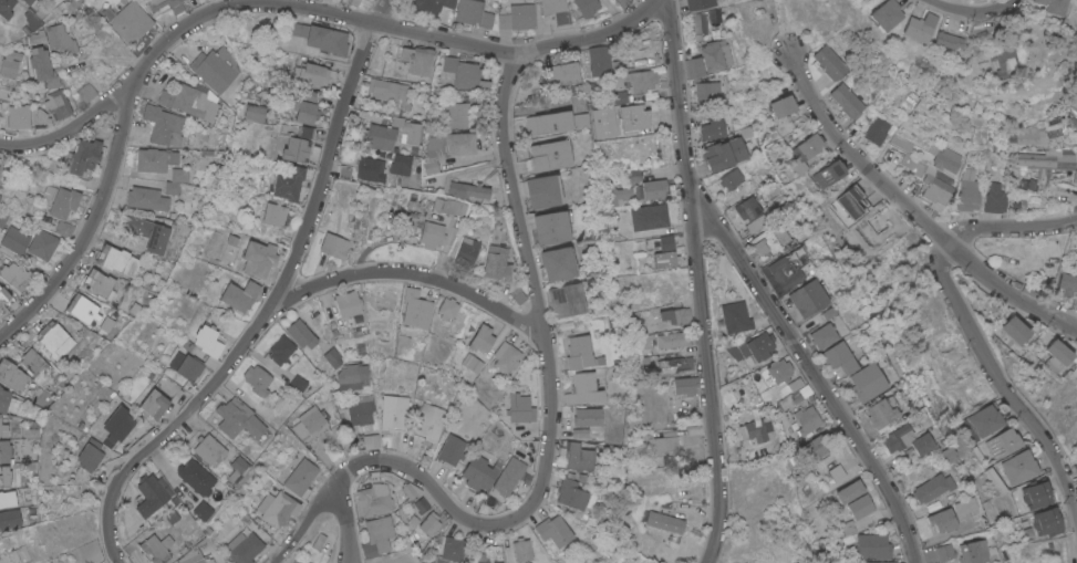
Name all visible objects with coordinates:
building: (367, 0)
building: (25, 1)
building: (354, 2)
building: (697, 3)
building: (166, 4)
building: (1053, 6)
building: (431, 7)
building: (587, 7)
building: (6, 8)
building: (557, 10)
road: (974, 11)
road: (311, 12)
building: (474, 13)
building: (887, 14)
building: (518, 17)
building: (126, 20)
building: (31, 21)
building: (697, 23)
road: (790, 25)
building: (919, 27)
building: (37, 37)
building: (321, 38)
building: (60, 39)
building: (945, 39)
building: (713, 54)
building: (417, 60)
building: (599, 60)
building: (830, 62)
building: (1005, 62)
building: (10, 63)
building: (42, 66)
building: (693, 66)
building: (215, 69)
building: (462, 72)
building: (312, 73)
building: (565, 73)
building: (638, 80)
building: (707, 90)
building: (86, 92)
building: (390, 93)
building: (622, 96)
building: (847, 100)
building: (189, 102)
building: (56, 103)
building: (783, 105)
building: (306, 107)
building: (1075, 107)
building: (255, 112)
building: (460, 112)
building: (18, 116)
building: (39, 117)
building: (0, 118)
building: (581, 121)
building: (549, 123)
building: (163, 125)
building: (407, 129)
building: (711, 129)
building: (878, 131)
building: (304, 132)
building: (744, 132)
building: (1025, 135)
building: (379, 136)
building: (445, 148)
building: (296, 149)
building: (806, 152)
building: (722, 154)
building: (550, 155)
building: (84, 156)
building: (947, 158)
building: (155, 159)
building: (1047, 159)
building: (401, 164)
building: (914, 167)
building: (371, 169)
building: (829, 173)
building: (180, 175)
building: (632, 178)
building: (731, 178)
building: (1074, 179)
building: (289, 183)
building: (912, 185)
building: (1026, 185)
building: (172, 188)
building: (654, 188)
building: (467, 190)
building: (543, 190)
building: (967, 190)
building: (49, 191)
building: (936, 192)
building: (618, 195)
building: (147, 198)
building: (994, 198)
building: (851, 201)
building: (63, 202)
building: (449, 206)
building: (748, 208)
road: (913, 209)
building: (275, 215)
building: (646, 217)
building: (2, 218)
road: (89, 226)
building: (551, 227)
road: (1011, 227)
building: (64, 228)
building: (147, 232)
building: (432, 234)
building: (14, 239)
building: (231, 240)
building: (768, 241)
building: (666, 242)
building: (42, 244)
building: (333, 246)
building: (467, 251)
building: (258, 258)
building: (665, 259)
building: (117, 260)
building: (559, 262)
building: (496, 263)
road: (405, 271)
building: (784, 272)
building: (14, 275)
road: (698, 281)
building: (97, 283)
building: (1068, 283)
building: (426, 292)
building: (3, 295)
building: (239, 295)
building: (517, 295)
building: (807, 298)
building: (566, 300)
road: (270, 301)
building: (348, 303)
building: (446, 307)
building: (83, 309)
building: (413, 309)
building: (1, 311)
building: (828, 312)
building: (675, 315)
building: (735, 316)
building: (1016, 330)
building: (301, 333)
building: (822, 335)
building: (481, 338)
building: (674, 338)
building: (54, 340)
building: (207, 340)
building: (648, 341)
building: (360, 348)
building: (750, 348)
building: (280, 350)
building: (579, 352)
building: (1058, 355)
building: (506, 356)
building: (332, 357)
building: (839, 358)
building: (34, 362)
building: (209, 362)
building: (472, 363)
building: (676, 365)
building: (185, 366)
building: (650, 372)
building: (776, 372)
road: (815, 372)
building: (353, 375)
building: (12, 376)
building: (257, 379)
building: (867, 382)
building: (297, 384)
road: (1002, 384)
building: (686, 385)
building: (582, 388)
building: (787, 388)
road: (549, 392)
building: (4, 399)
building: (154, 405)
building: (359, 408)
building: (519, 408)
building: (394, 413)
building: (883, 413)
building: (587, 416)
building: (239, 419)
building: (806, 419)
building: (312, 420)
building: (429, 421)
building: (983, 421)
building: (120, 424)
building: (3, 426)
building: (758, 429)
building: (31, 432)
building: (578, 432)
building: (371, 440)
building: (661, 440)
building: (898, 441)
building: (923, 444)
building: (1003, 444)
building: (816, 447)
building: (208, 448)
building: (452, 450)
building: (4, 451)
building: (90, 455)
building: (944, 455)
building: (574, 456)
building: (238, 465)
building: (1019, 467)
building: (1075, 467)
building: (479, 472)
building: (836, 472)
building: (4, 476)
building: (196, 477)
building: (299, 477)
building: (994, 480)
building: (504, 483)
building: (408, 491)
building: (849, 491)
building: (933, 491)
building: (152, 492)
building: (570, 493)
building: (1035, 496)
building: (10, 498)
building: (375, 499)
building: (174, 500)
building: (263, 501)
building: (965, 505)
building: (860, 507)
building: (415, 508)
building: (280, 509)
building: (201, 511)
building: (172, 518)
building: (10, 519)
building: (244, 519)
road: (345, 519)
road: (307, 520)
building: (412, 520)
building: (941, 520)
building: (665, 522)
building: (1044, 522)
building: (429, 523)
building: (848, 528)
building: (553, 530)
building: (377, 536)
building: (166, 540)
building: (318, 541)
building: (874, 545)
building: (153, 548)
building: (244, 548)
building: (451, 550)
building: (521, 550)
building: (972, 551)
building: (944, 552)
road: (351, 554)
building: (490, 554)
building: (191, 556)
building: (207, 559)
building: (297, 561)
building: (880, 561)

